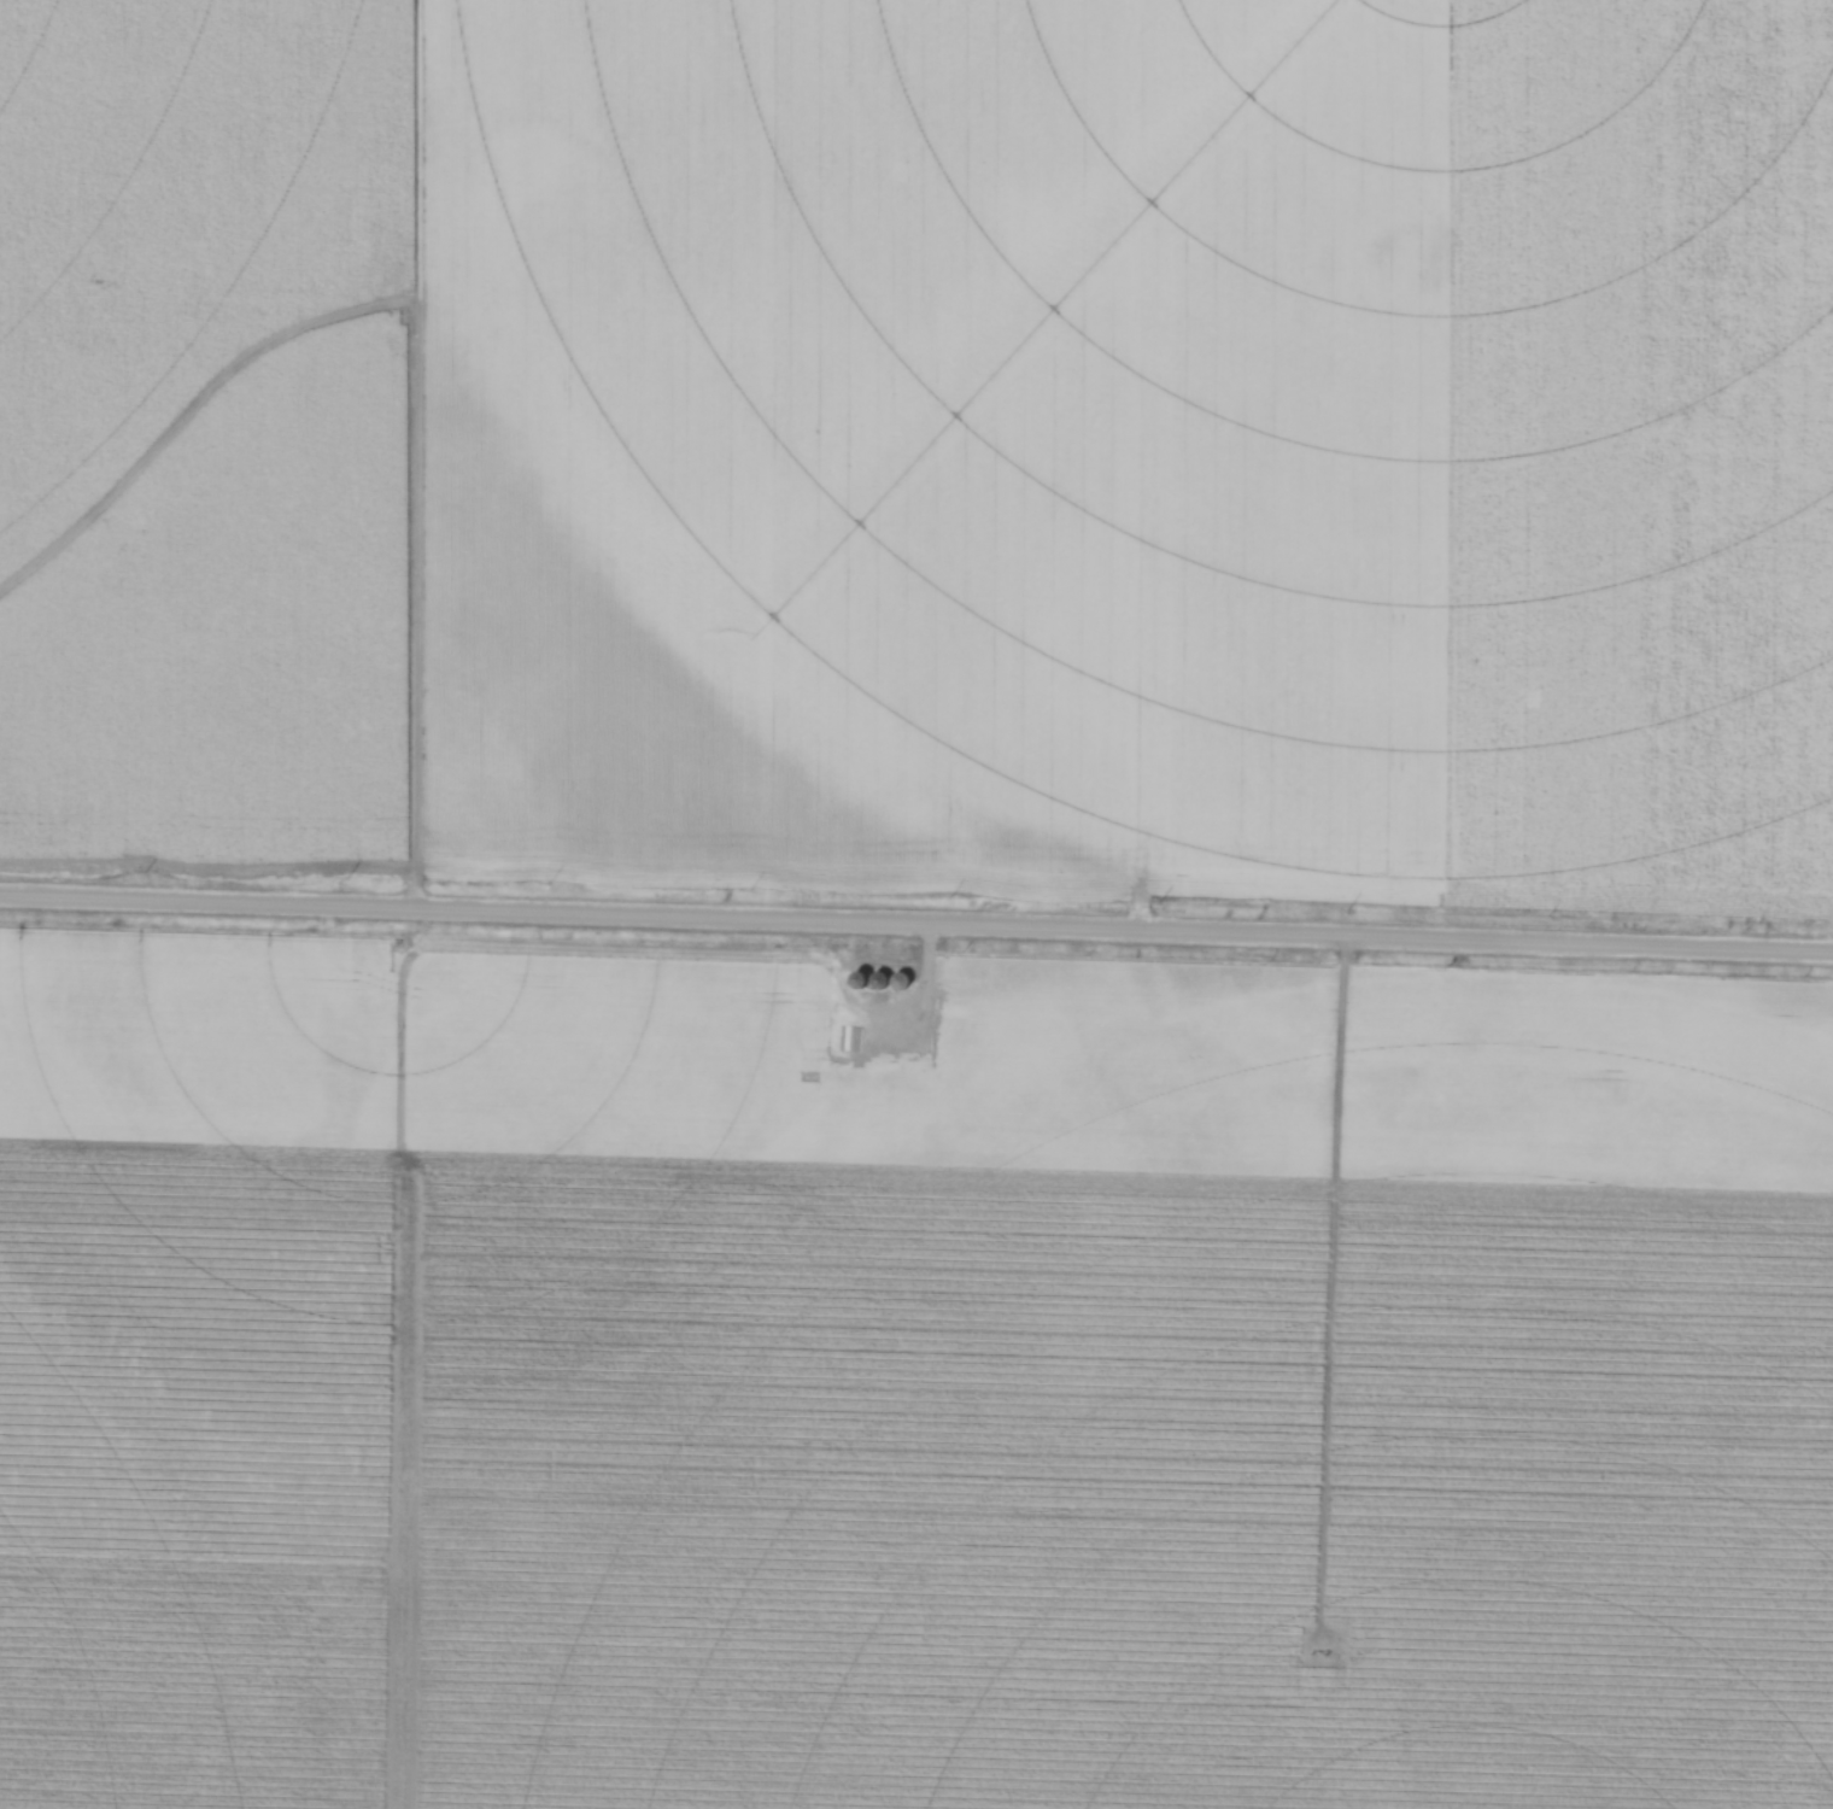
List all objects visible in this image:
road: (916, 927)

